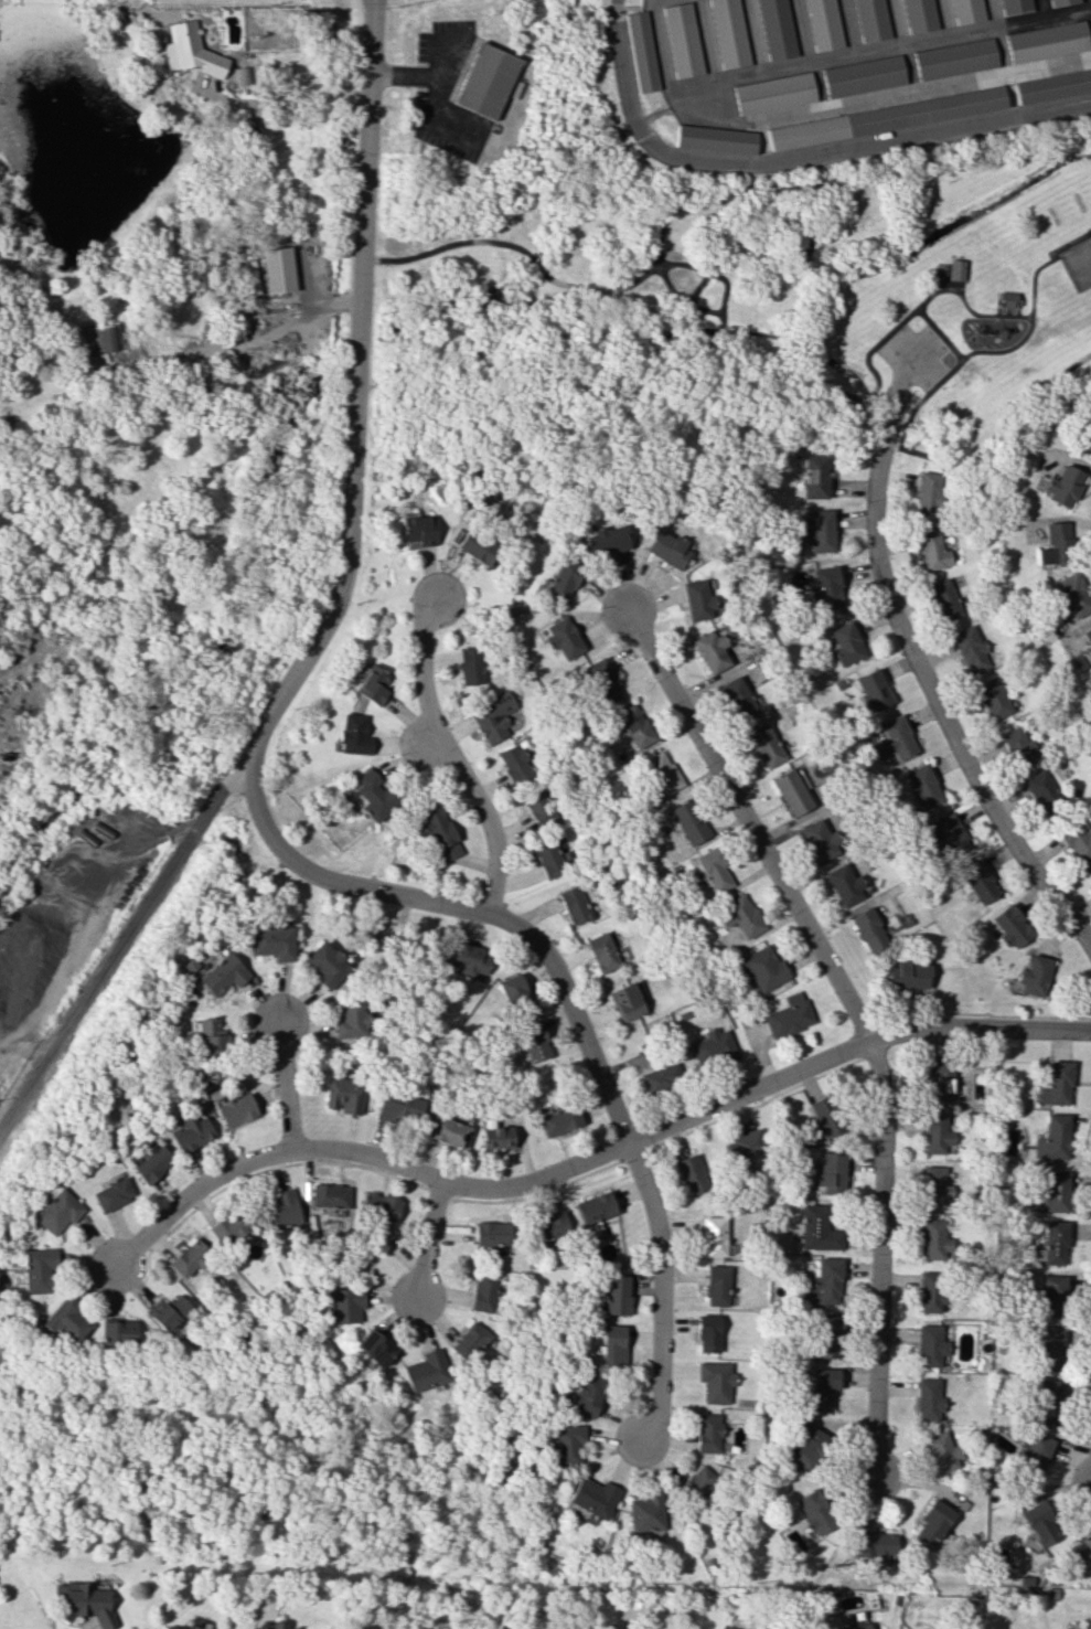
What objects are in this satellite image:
building: (1061, 2)
building: (1015, 6)
road: (1044, 10)
building: (967, 11)
road: (995, 14)
building: (920, 15)
road: (945, 18)
building: (871, 20)
road: (1045, 20)
road: (899, 23)
building: (824, 24)
road: (849, 28)
building: (777, 29)
road: (802, 32)
building: (729, 33)
road: (951, 35)
road: (755, 36)
building: (682, 40)
road: (706, 41)
building: (1046, 41)
building: (191, 51)
building: (640, 51)
road: (1003, 51)
road: (661, 52)
building: (953, 58)
road: (787, 67)
road: (909, 68)
road: (418, 74)
building: (243, 75)
building: (481, 75)
building: (863, 76)
road: (823, 84)
building: (1051, 86)
building: (773, 93)
road: (880, 96)
road: (1010, 96)
road: (284, 100)
road: (437, 113)
road: (1052, 113)
road: (652, 117)
building: (885, 117)
road: (637, 132)
building: (714, 139)
road: (869, 146)
road: (831, 181)
park: (1079, 201)
park: (1053, 215)
road: (521, 251)
park: (1079, 265)
road: (946, 266)
building: (277, 269)
building: (959, 269)
road: (708, 273)
road: (708, 273)
road: (937, 284)
road: (948, 289)
road: (725, 296)
park: (902, 297)
road: (684, 298)
building: (1009, 298)
road: (1034, 299)
road: (315, 302)
road: (998, 307)
road: (1019, 307)
road: (922, 308)
road: (725, 330)
building: (106, 338)
road: (885, 339)
road: (1007, 351)
parking lot: (914, 355)
road: (908, 362)
road: (999, 429)
building: (1087, 439)
building: (814, 477)
building: (1063, 486)
building: (928, 491)
building: (418, 530)
building: (820, 531)
building: (608, 541)
building: (478, 543)
building: (1052, 544)
building: (667, 547)
building: (931, 549)
building: (564, 581)
building: (826, 588)
building: (1073, 595)
building: (697, 599)
building: (943, 599)
road: (329, 613)
building: (1088, 633)
building: (564, 637)
building: (846, 643)
building: (969, 649)
building: (713, 651)
building: (470, 666)
road: (426, 667)
building: (601, 680)
road: (928, 681)
building: (372, 684)
building: (874, 690)
building: (992, 698)
building: (739, 699)
building: (493, 716)
building: (635, 725)
building: (352, 734)
building: (896, 738)
road: (430, 743)
building: (766, 745)
building: (1017, 746)
building: (514, 764)
building: (662, 773)
building: (922, 786)
building: (792, 791)
building: (1044, 792)
building: (372, 795)
road: (486, 819)
building: (688, 822)
road: (189, 832)
building: (440, 833)
building: (946, 835)
building: (1077, 840)
building: (821, 841)
building: (550, 856)
building: (714, 870)
building: (1089, 871)
building: (978, 881)
building: (845, 885)
building: (574, 904)
building: (739, 916)
building: (1010, 926)
building: (869, 929)
building: (271, 943)
building: (601, 952)
building: (468, 959)
building: (325, 965)
building: (762, 967)
building: (222, 975)
building: (908, 975)
building: (1036, 975)
building: (514, 993)
building: (624, 1002)
road: (854, 1012)
road: (573, 1015)
building: (788, 1015)
building: (350, 1018)
building: (211, 1037)
building: (534, 1041)
building: (712, 1047)
building: (660, 1076)
building: (940, 1078)
road: (285, 1080)
building: (1057, 1084)
road: (760, 1086)
building: (344, 1095)
building: (399, 1107)
building: (235, 1109)
building: (822, 1117)
building: (559, 1120)
road: (1, 1126)
building: (448, 1131)
building: (937, 1132)
building: (191, 1133)
building: (495, 1135)
building: (1053, 1138)
building: (744, 1144)
road: (366, 1154)
building: (152, 1163)
building: (831, 1172)
building: (692, 1173)
building: (935, 1186)
road: (193, 1190)
building: (1056, 1191)
building: (111, 1193)
building: (329, 1195)
building: (379, 1206)
building: (280, 1210)
building: (57, 1211)
building: (595, 1211)
building: (549, 1225)
building: (229, 1226)
building: (819, 1228)
building: (492, 1233)
building: (714, 1236)
road: (431, 1237)
building: (934, 1239)
building: (1052, 1244)
building: (189, 1258)
building: (38, 1269)
building: (826, 1280)
building: (717, 1285)
building: (930, 1290)
building: (483, 1292)
building: (1049, 1295)
building: (616, 1296)
building: (342, 1305)
building: (169, 1311)
building: (65, 1319)
building: (117, 1331)
building: (707, 1333)
building: (825, 1337)
building: (468, 1341)
building: (612, 1344)
building: (929, 1345)
building: (374, 1346)
building: (1051, 1346)
building: (425, 1371)
building: (715, 1381)
building: (823, 1388)
building: (587, 1395)
building: (928, 1398)
building: (1049, 1401)
building: (708, 1433)
building: (566, 1442)
building: (809, 1446)
building: (943, 1452)
building: (1035, 1454)
building: (697, 1483)
building: (592, 1497)
building: (645, 1513)
building: (814, 1515)
building: (1041, 1522)
building: (933, 1524)
building: (876, 1545)
building: (1083, 1551)
building: (84, 1601)
building: (278, 1625)
building: (183, 1627)
building: (853, 1627)

